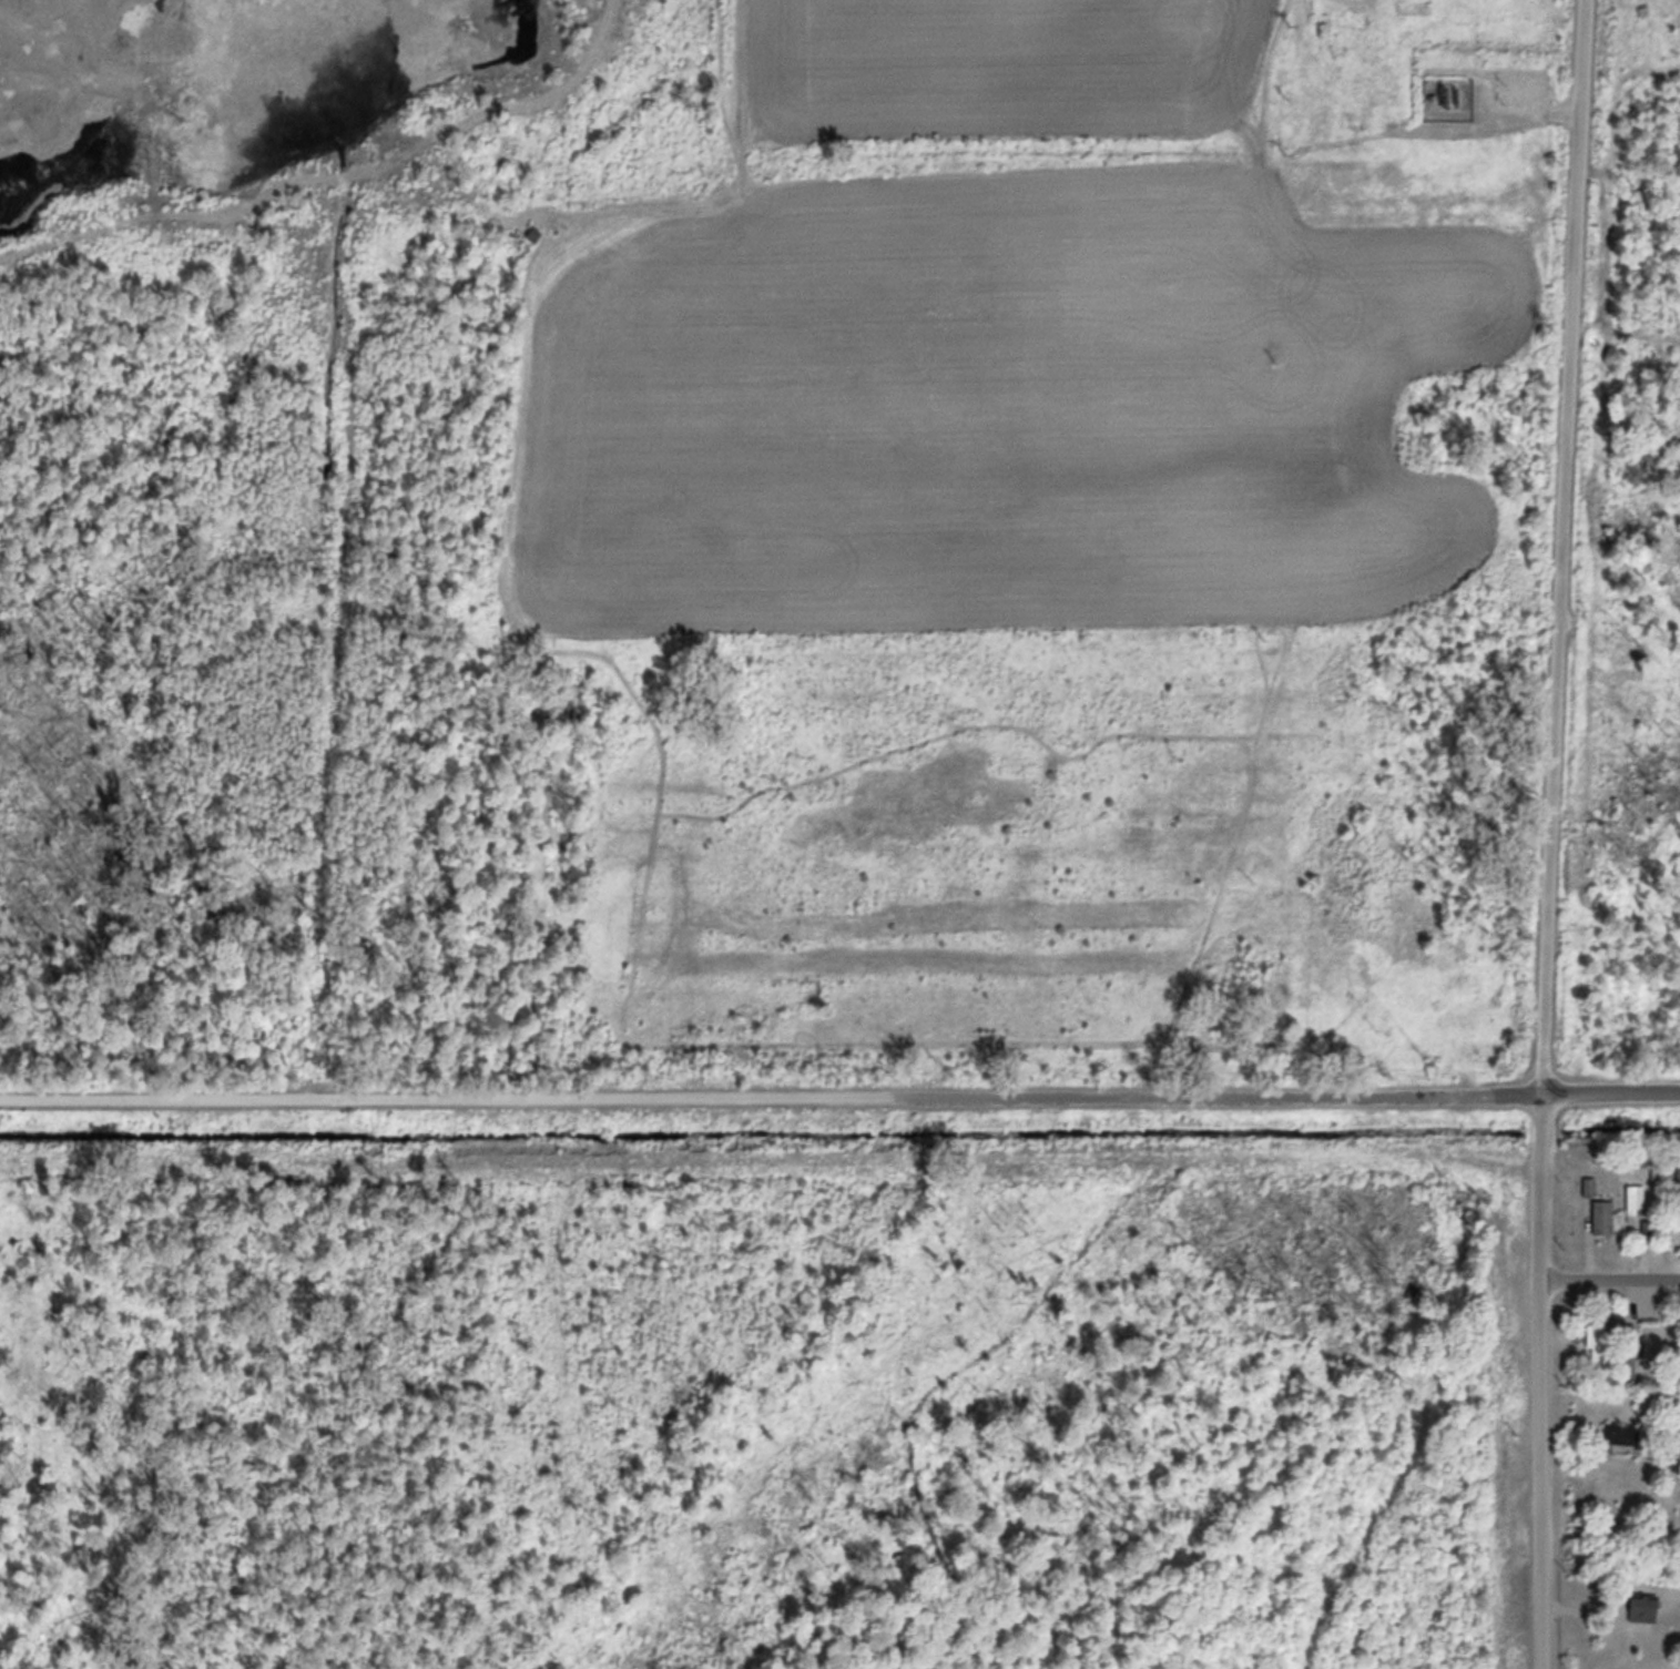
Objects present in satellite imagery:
building: (531, 232)
road: (348, 449)
road: (1549, 834)
road: (839, 1099)
building: (1631, 1205)
building: (1598, 1210)
road: (1608, 1276)
building: (1594, 1344)
building: (1619, 1432)
building: (1641, 1605)

